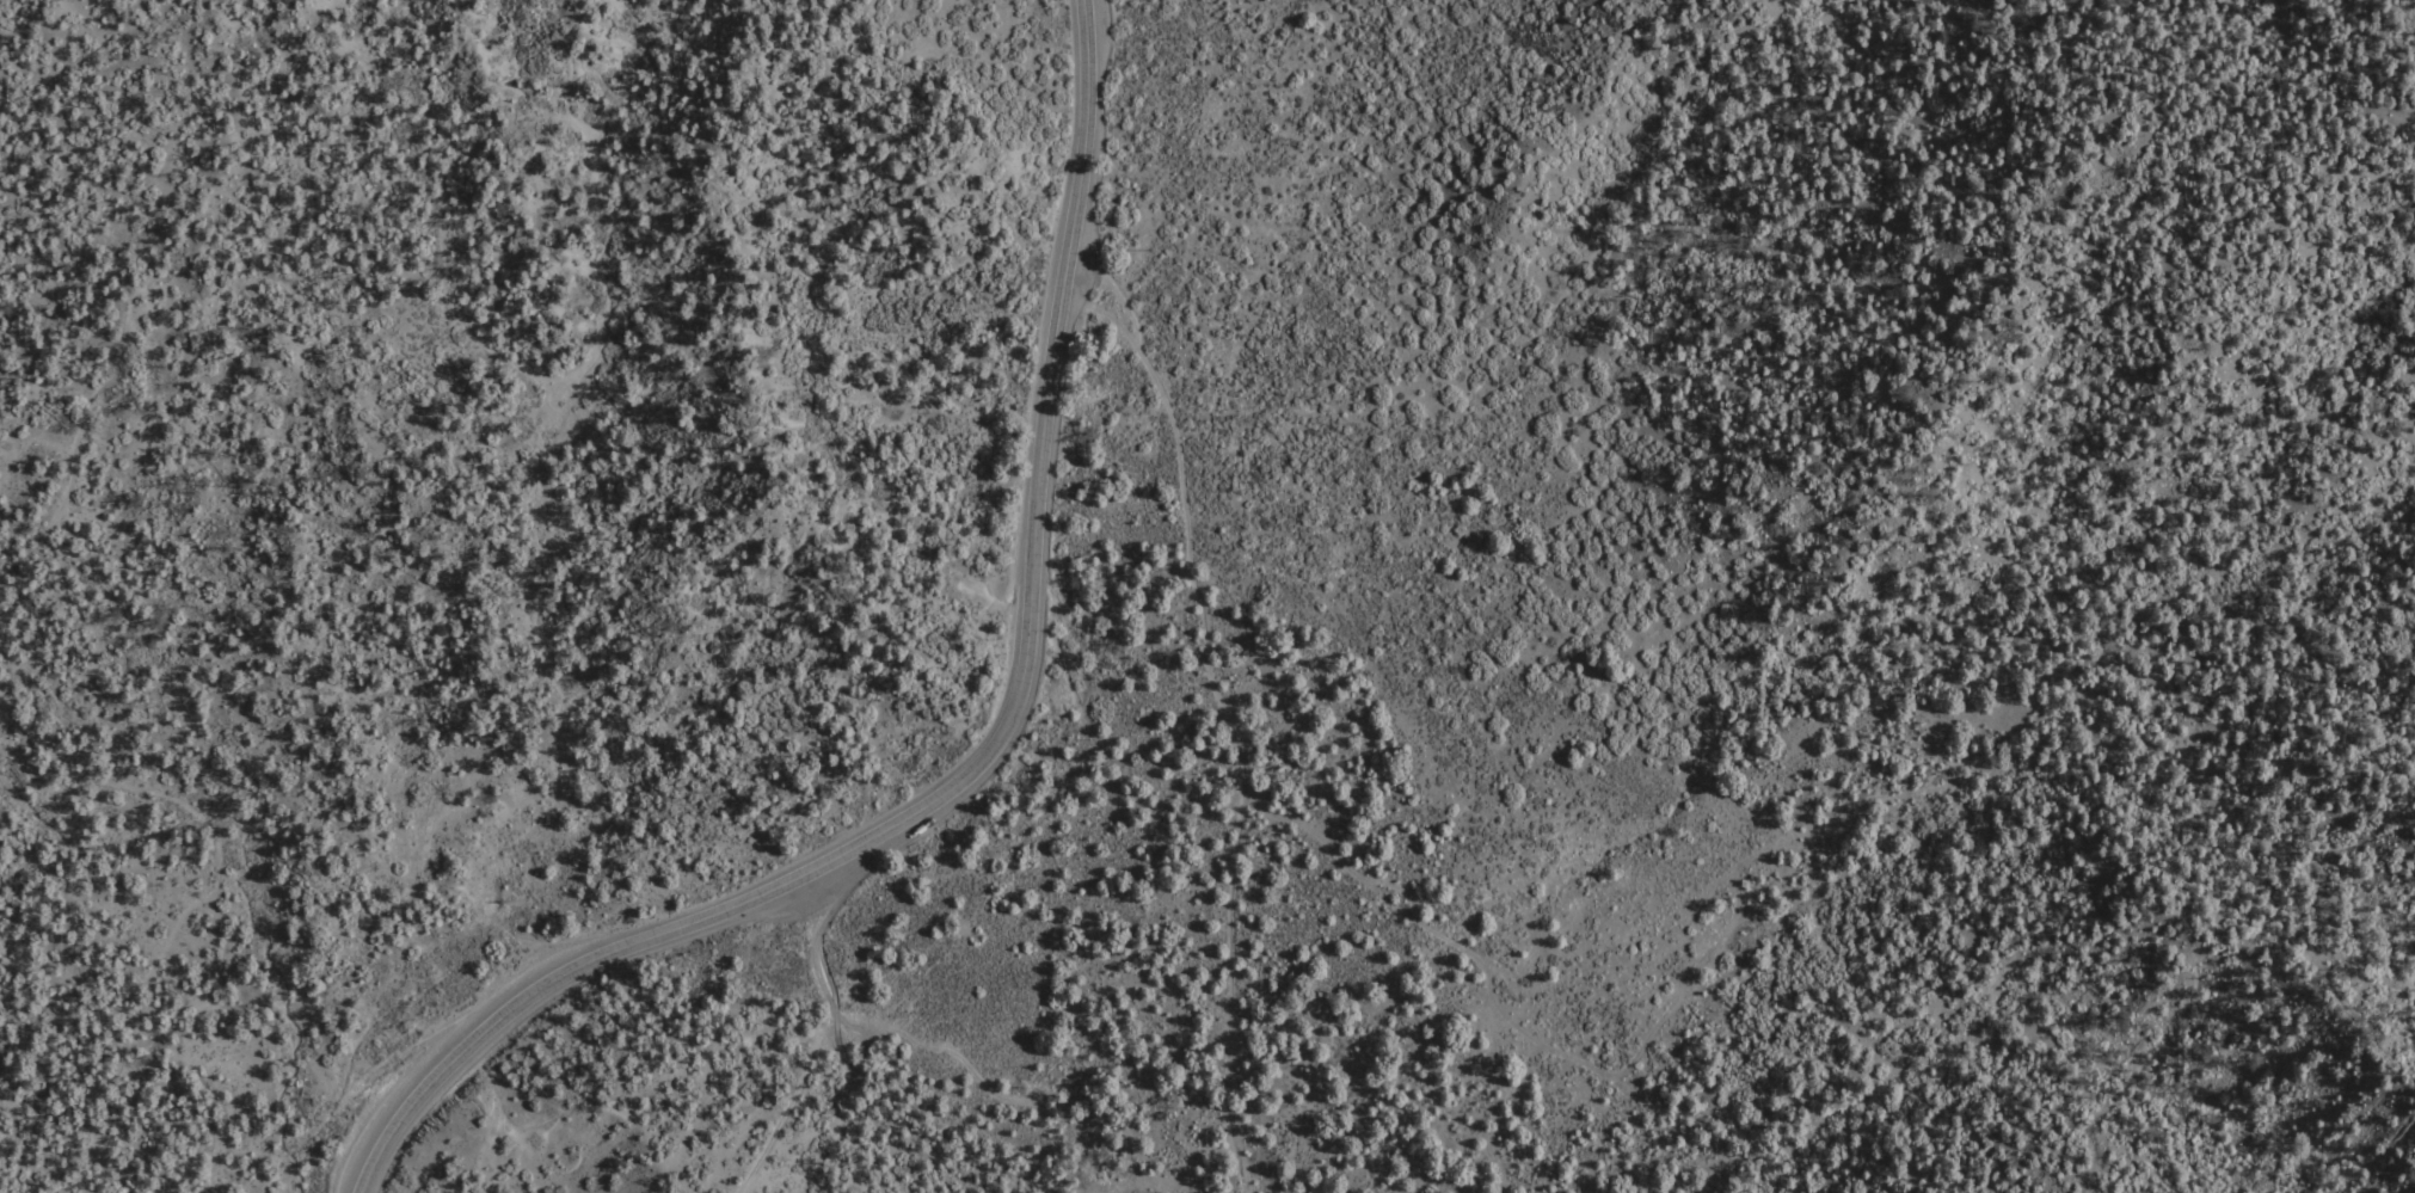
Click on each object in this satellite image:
road: (1228, 696)
road: (975, 757)

